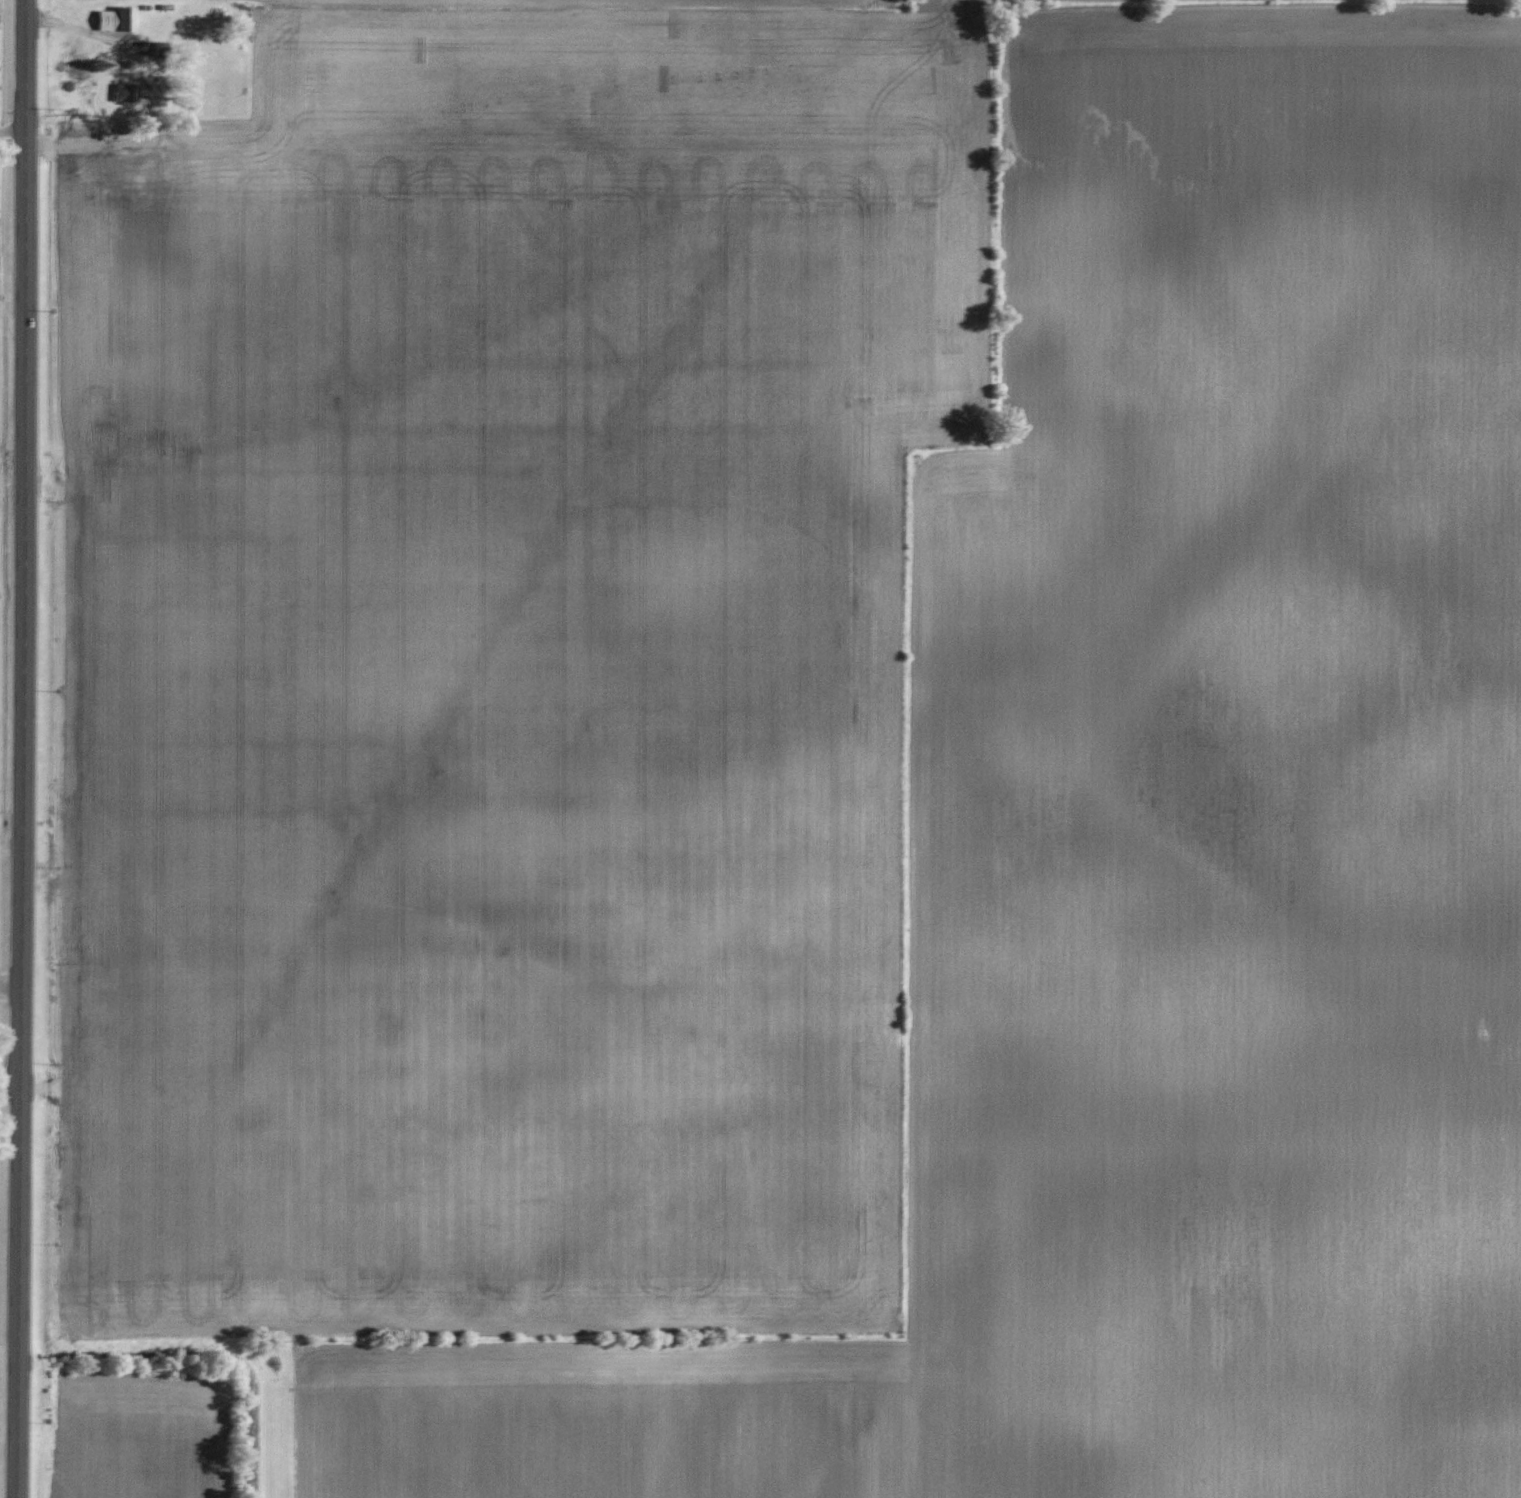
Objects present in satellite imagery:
building: (117, 19)
road: (18, 749)

